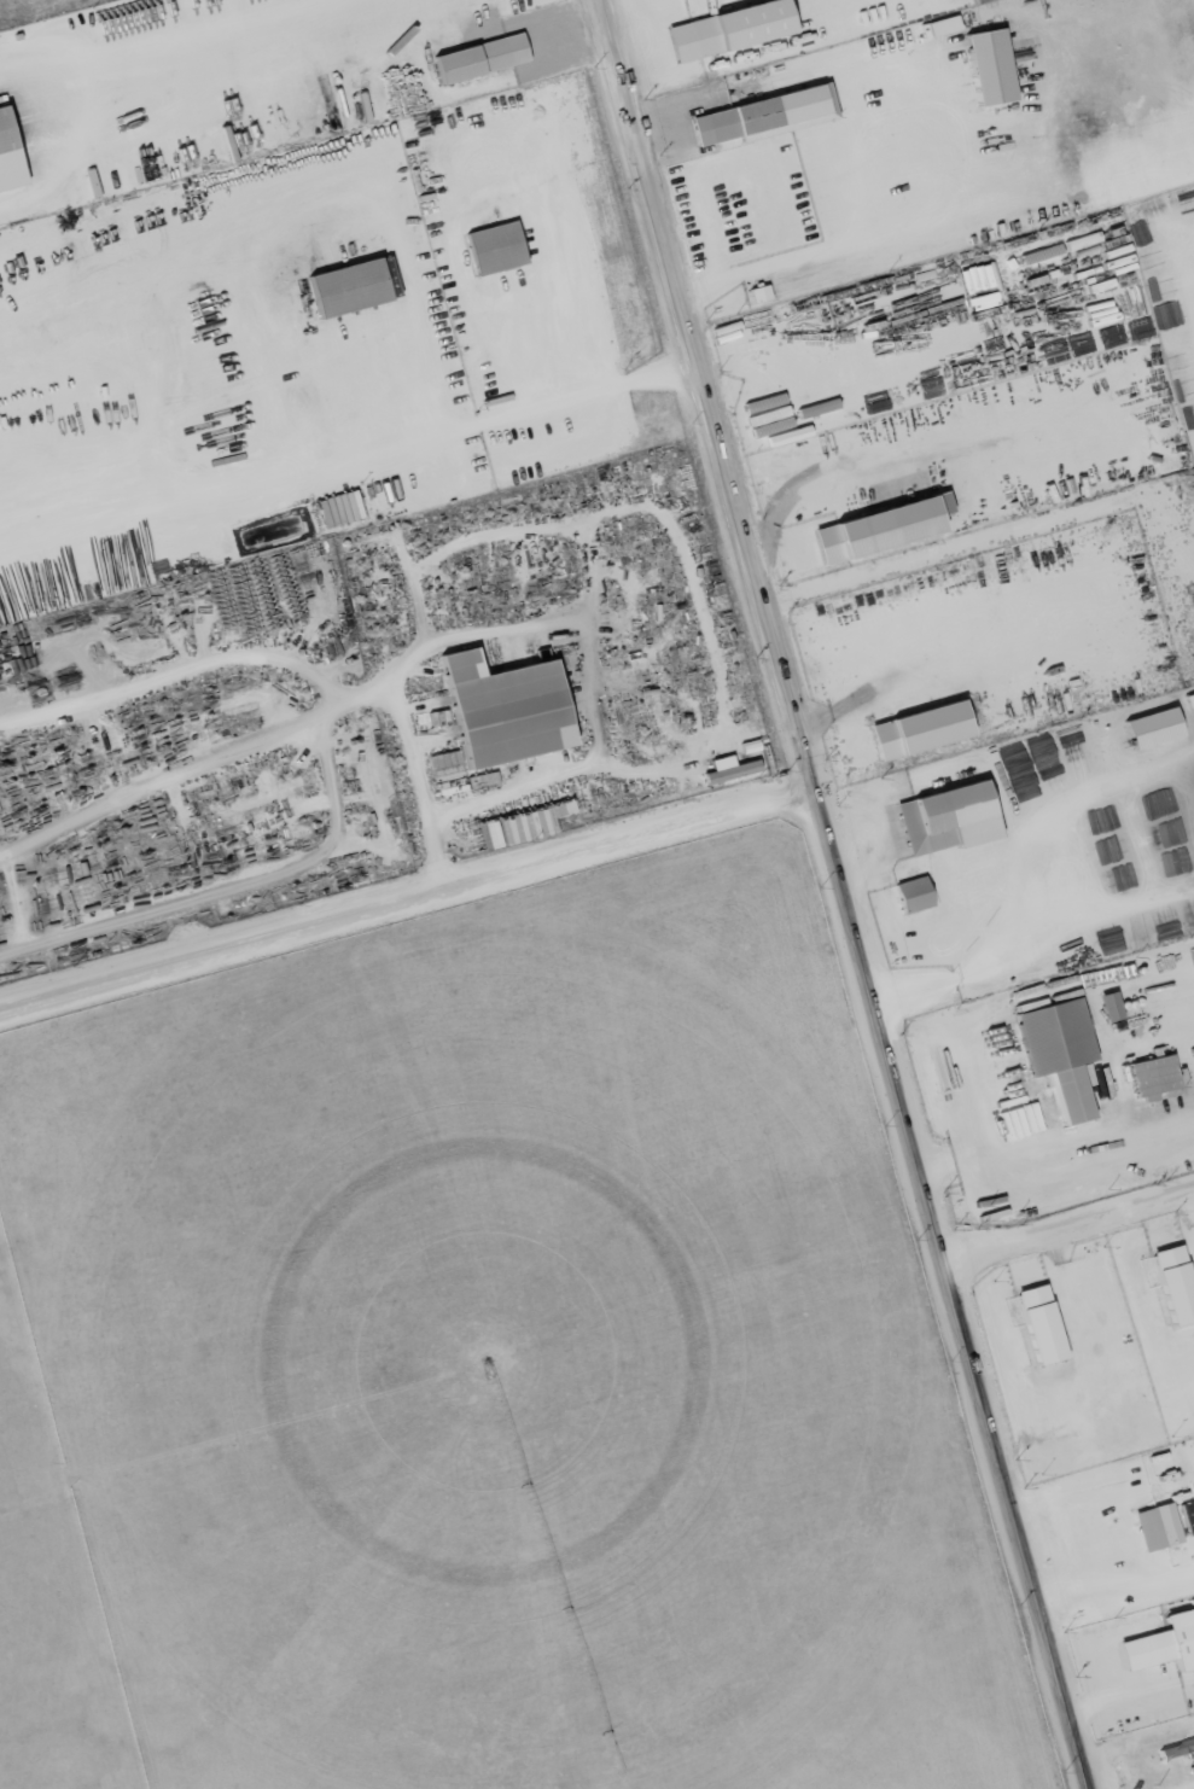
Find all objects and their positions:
road: (58, 18)
building: (945, 24)
building: (733, 27)
road: (283, 36)
building: (484, 56)
building: (992, 65)
building: (768, 113)
building: (7, 129)
road: (276, 216)
road: (866, 239)
building: (499, 246)
building: (353, 285)
road: (594, 391)
building: (880, 528)
building: (509, 707)
building: (1155, 727)
building: (924, 728)
building: (727, 768)
building: (951, 817)
building: (915, 893)
road: (841, 894)
road: (409, 913)
building: (1112, 1006)
building: (1061, 1051)
building: (1157, 1076)
road: (1018, 1148)
road: (1067, 1224)
building: (1177, 1282)
building: (1043, 1323)
building: (1158, 1526)
building: (1164, 1644)
road: (1189, 1788)

